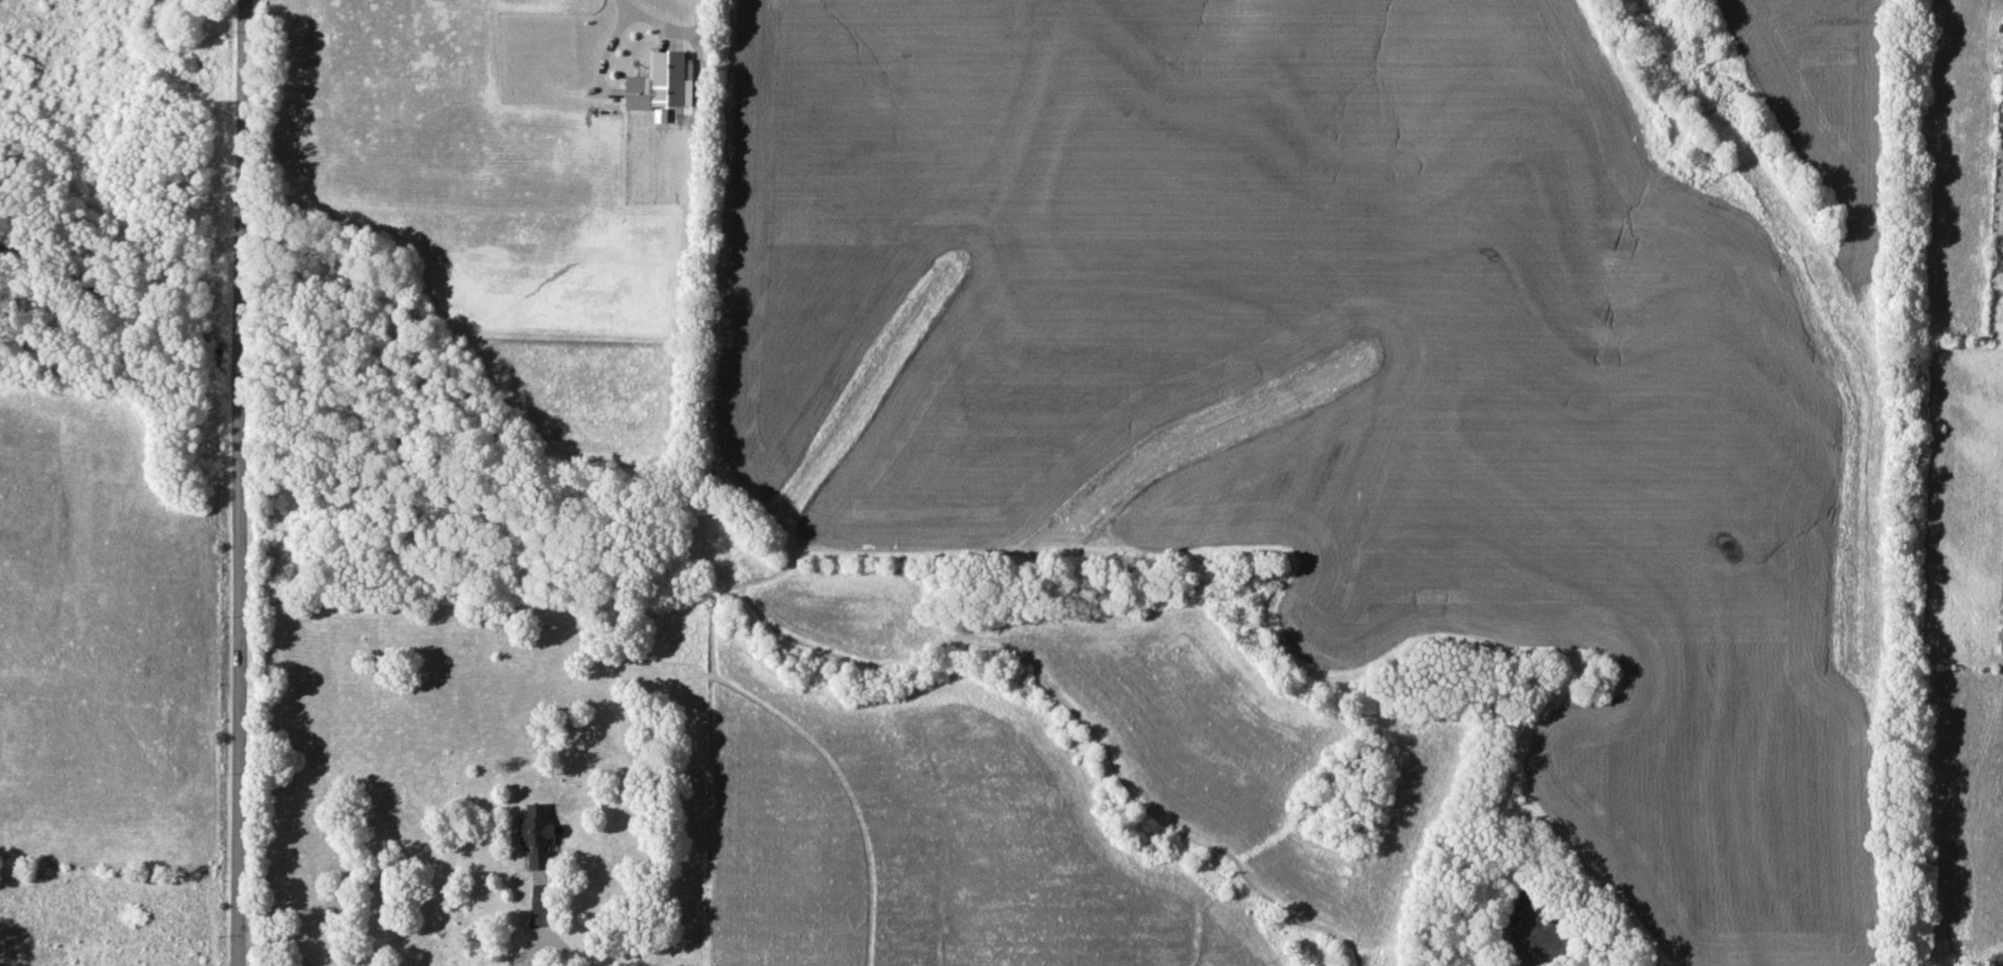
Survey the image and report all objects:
road: (620, 24)
crop: (1826, 104)
park: (123, 479)
road: (245, 482)
building: (535, 835)
road: (277, 943)
road: (567, 951)
road: (525, 953)

